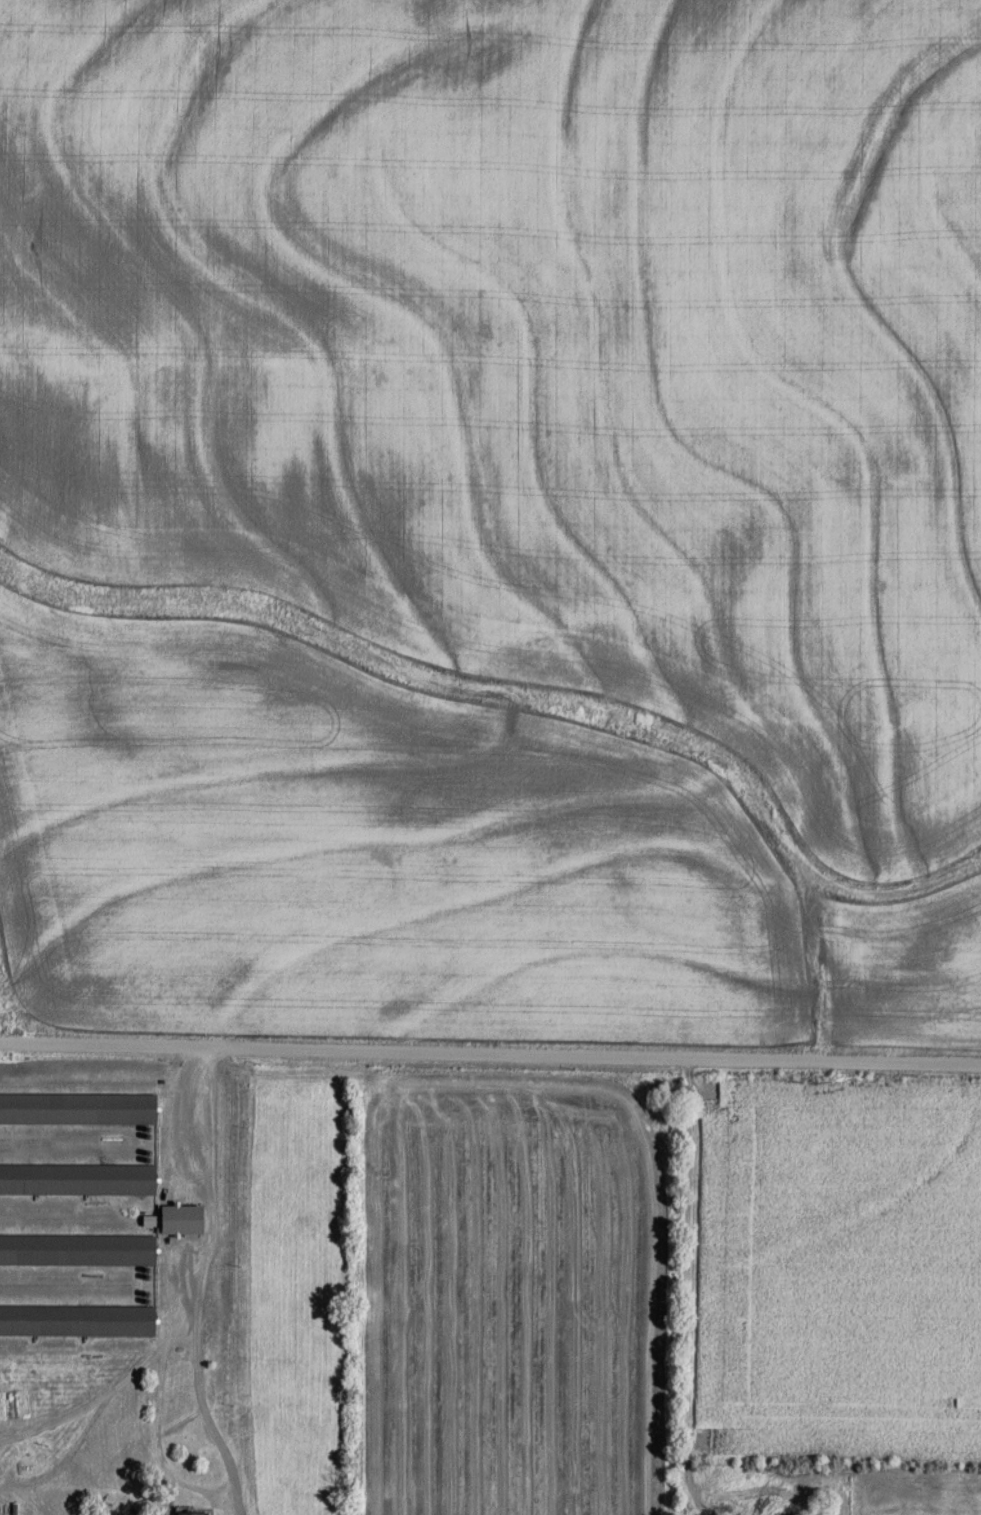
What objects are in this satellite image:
road: (490, 1053)
building: (79, 1108)
building: (78, 1179)
building: (78, 1249)
road: (198, 1283)
building: (78, 1320)
building: (193, 1513)

